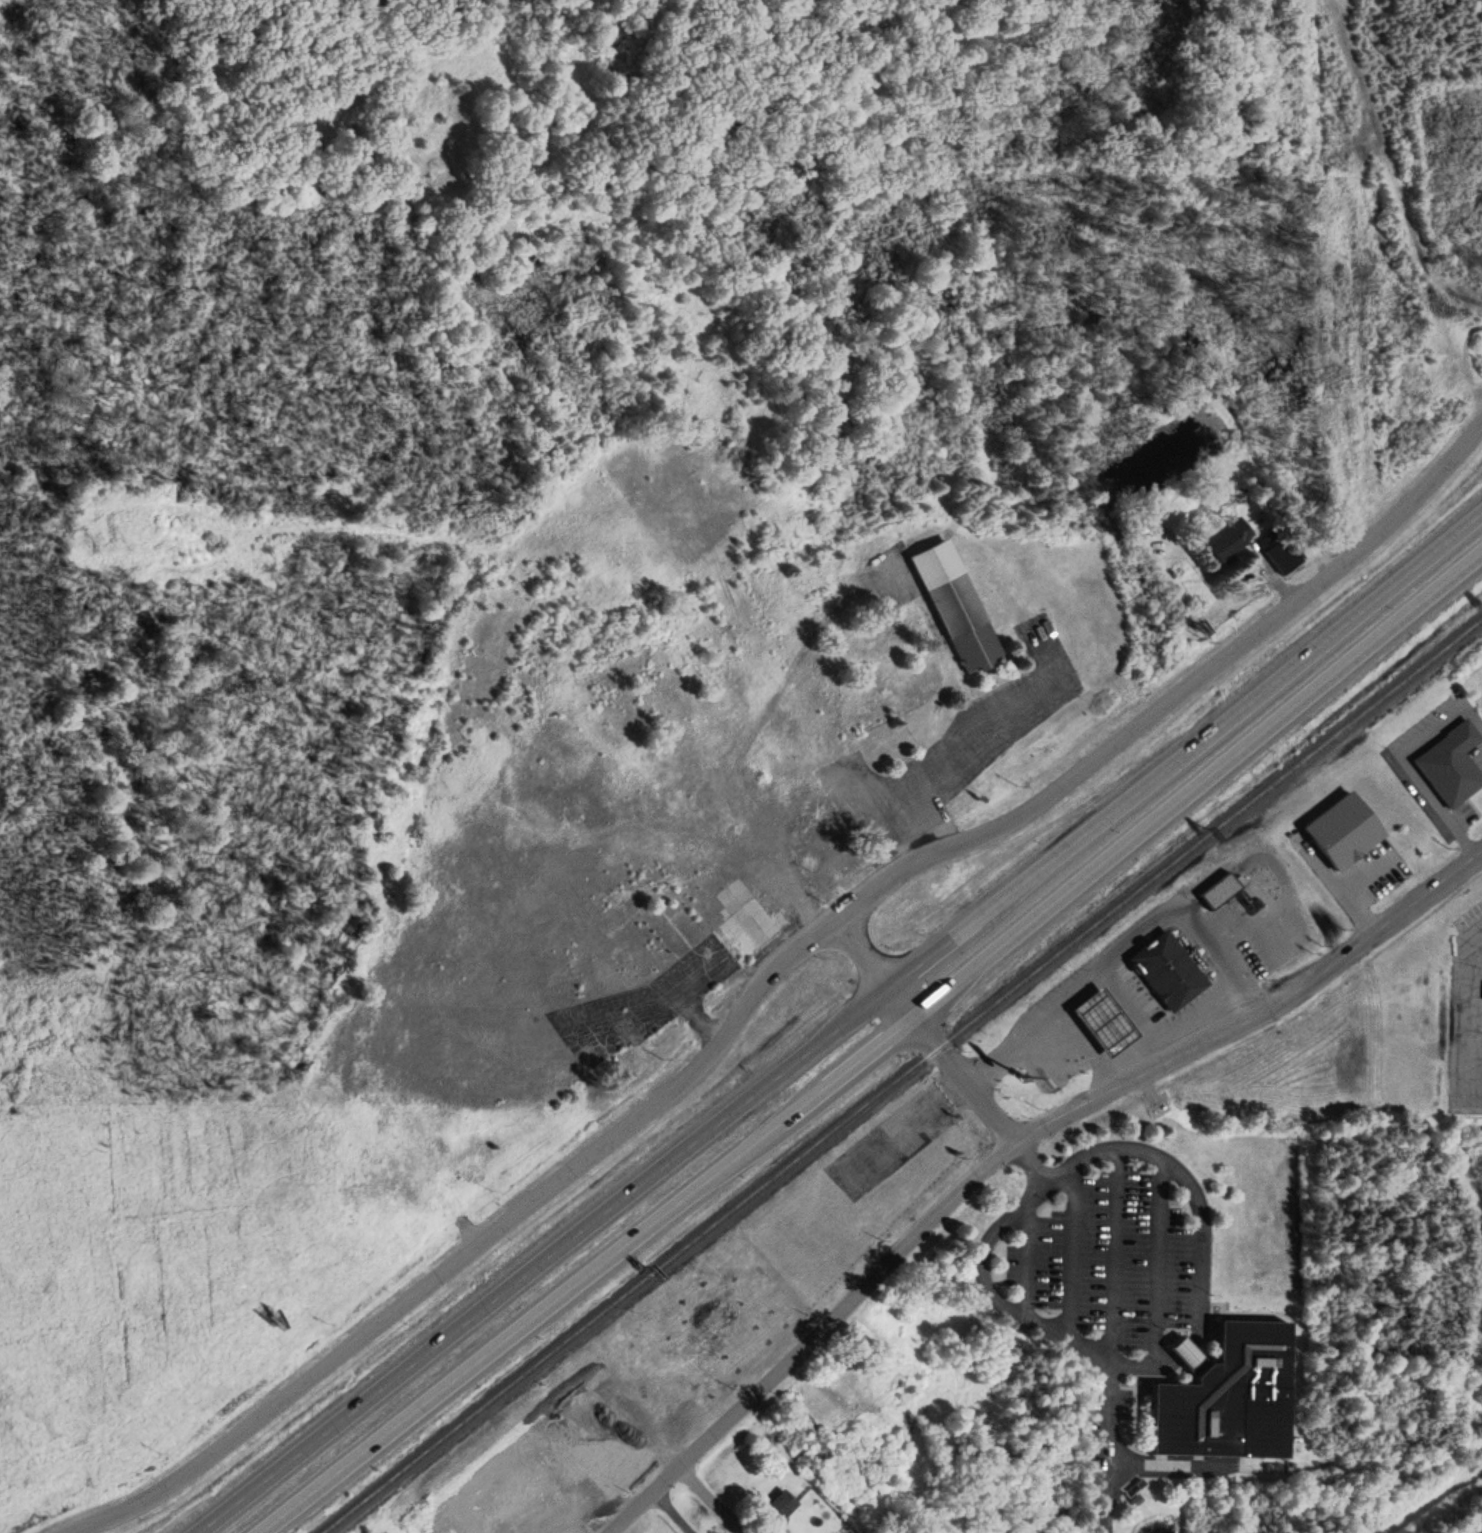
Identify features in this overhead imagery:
building: (1230, 538)
building: (1284, 554)
building: (955, 590)
road: (939, 747)
road: (1408, 755)
building: (1450, 761)
building: (568, 797)
building: (1182, 797)
building: (1345, 830)
road: (1272, 850)
building: (1216, 875)
road: (1339, 876)
building: (1219, 888)
building: (692, 895)
building: (743, 902)
building: (578, 906)
building: (596, 906)
building: (565, 916)
building: (752, 926)
road: (1121, 933)
building: (642, 943)
road: (862, 949)
building: (1165, 954)
road: (692, 961)
road: (768, 973)
building: (598, 981)
road: (658, 984)
road: (1139, 1003)
building: (1102, 1007)
road: (1472, 1011)
road: (839, 1022)
road: (1087, 1039)
road: (873, 1049)
road: (950, 1062)
railway: (901, 1076)
road: (1010, 1144)
road: (1201, 1227)
road: (1069, 1250)
road: (1114, 1252)
road: (1025, 1260)
road: (1158, 1262)
road: (1039, 1324)
building: (611, 1391)
building: (1228, 1396)
road: (1195, 1463)
building: (779, 1505)
road: (671, 1512)

